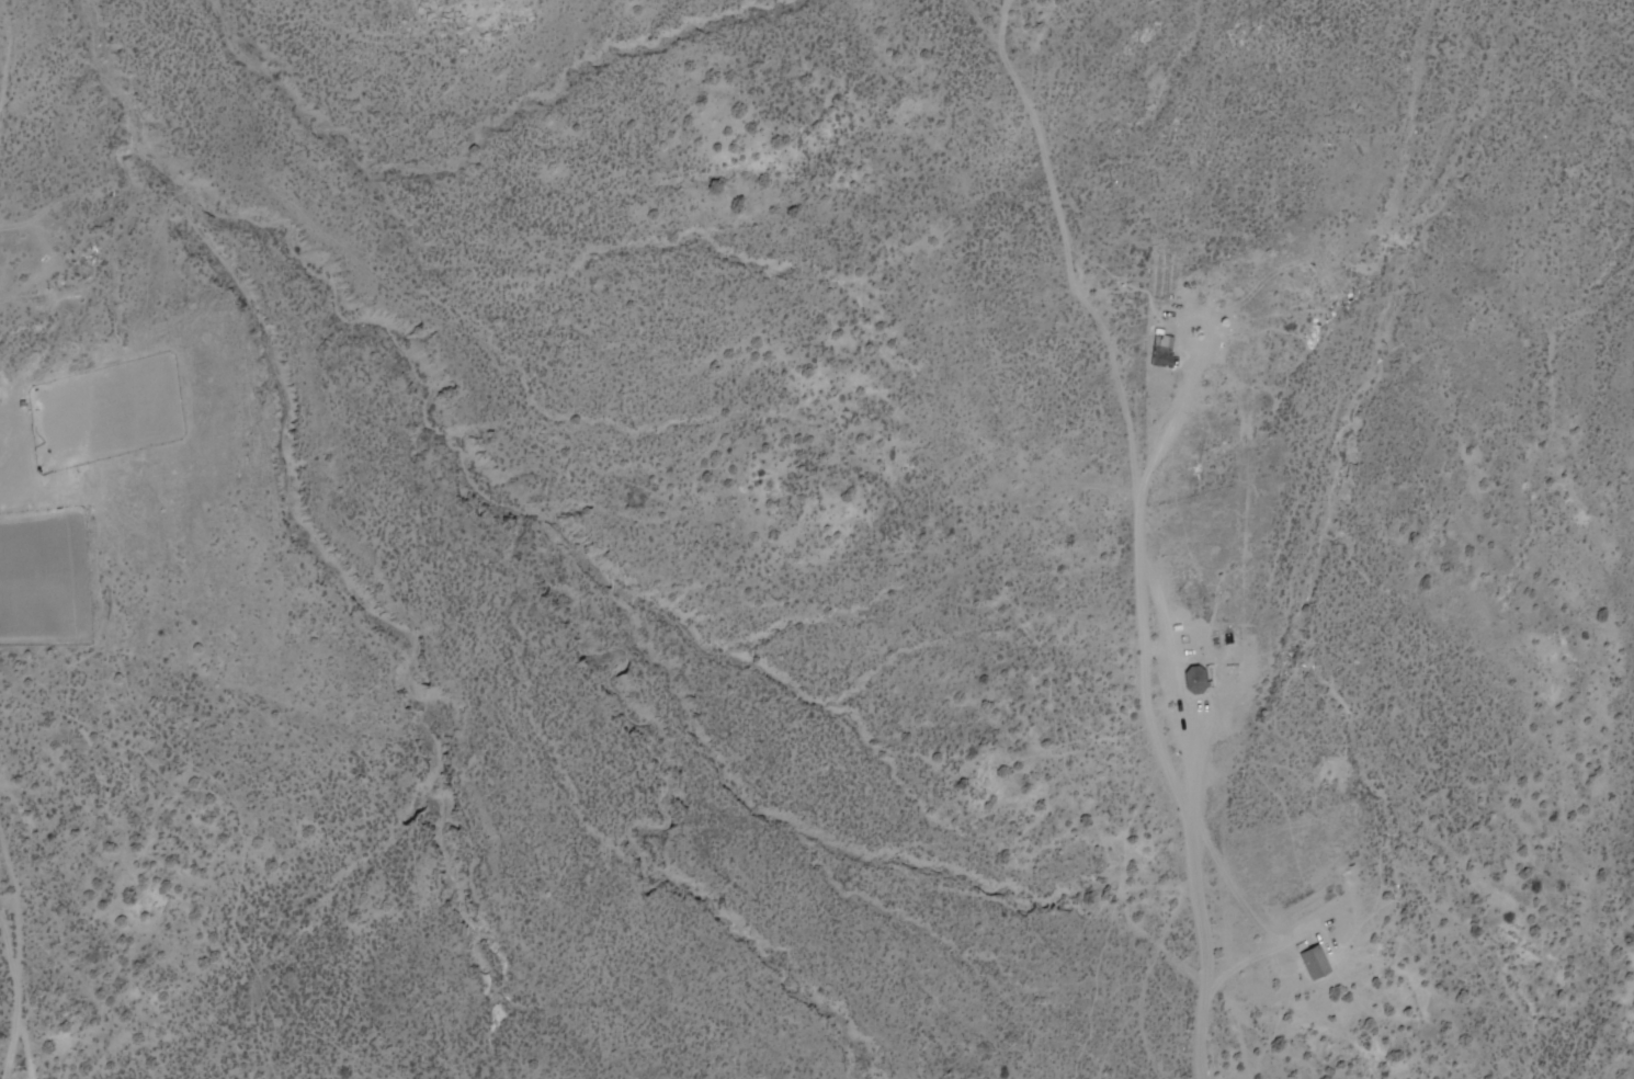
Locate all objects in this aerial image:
building: (1165, 350)
building: (1196, 679)
road: (463, 840)
road: (525, 929)
road: (277, 932)
road: (331, 1029)

